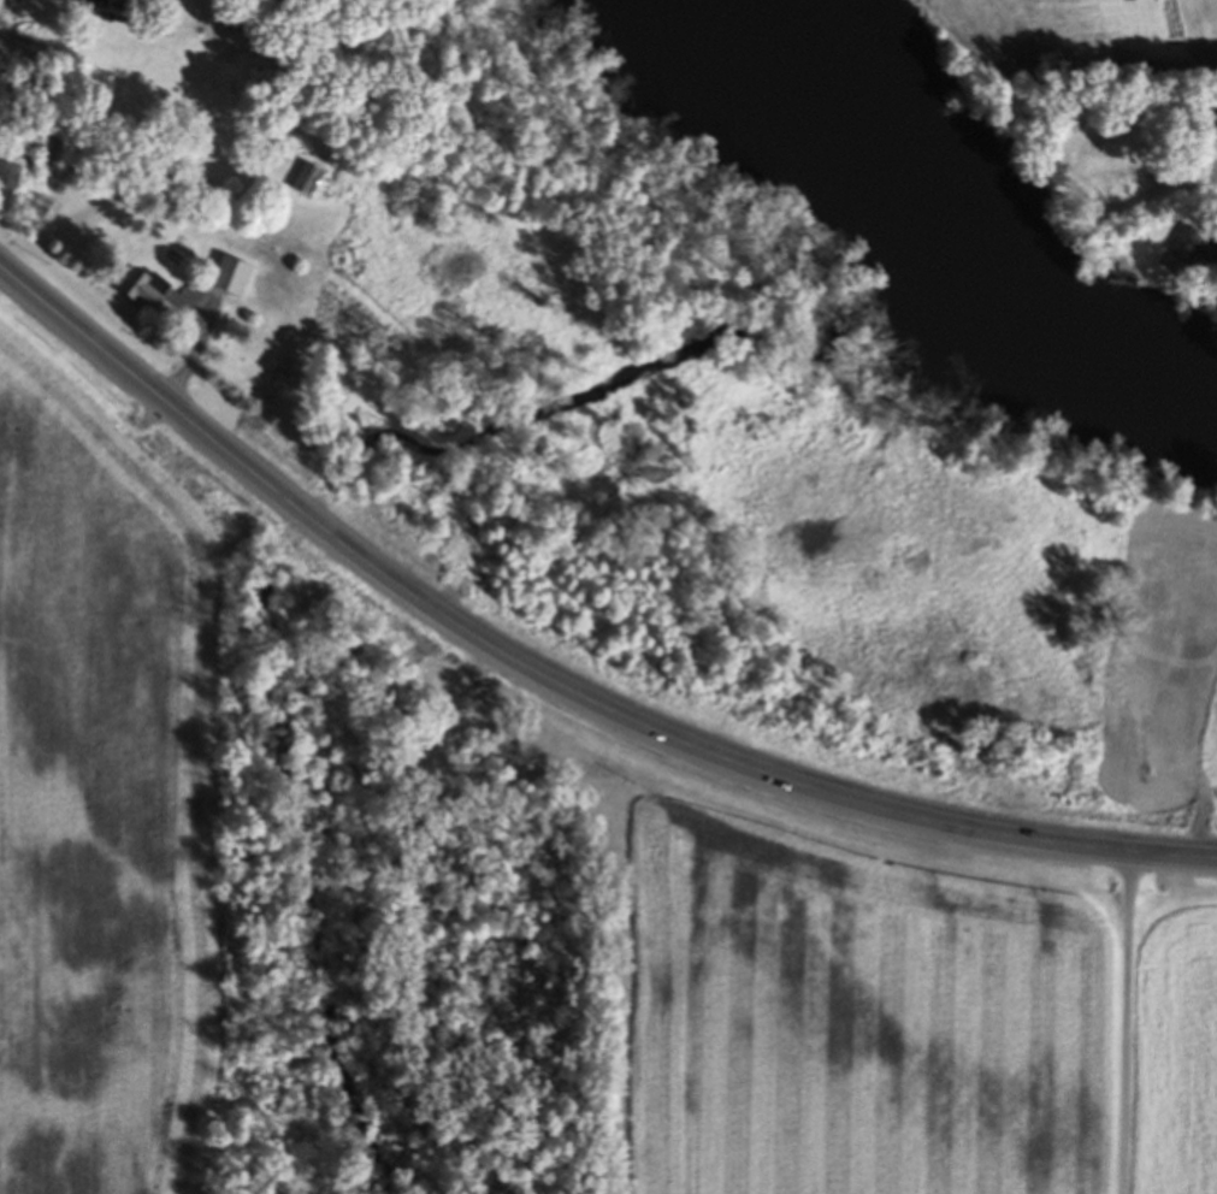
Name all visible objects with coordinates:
building: (307, 181)
river: (962, 225)
building: (1195, 252)
building: (146, 290)
road: (553, 679)
road: (1127, 1022)

